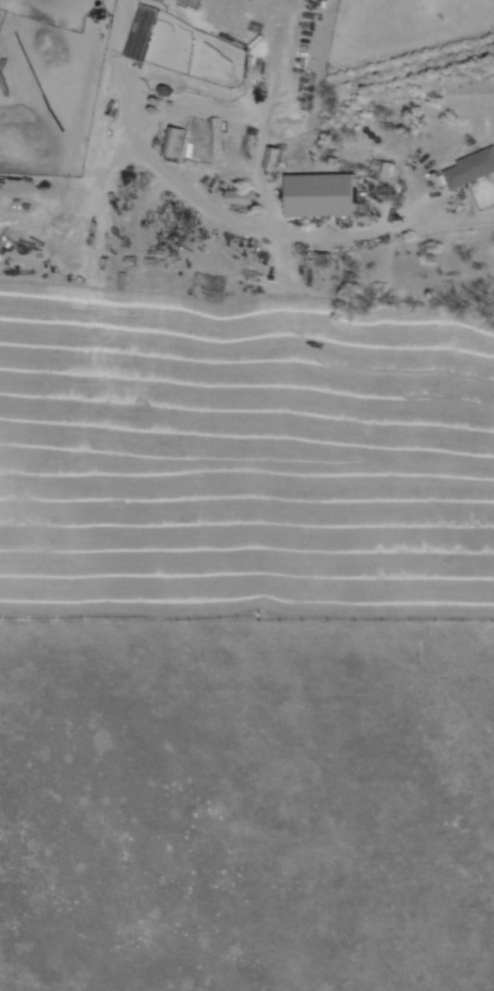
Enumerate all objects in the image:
building: (144, 29)
building: (174, 139)
building: (275, 155)
building: (473, 166)
building: (325, 193)
building: (242, 195)
building: (210, 285)

